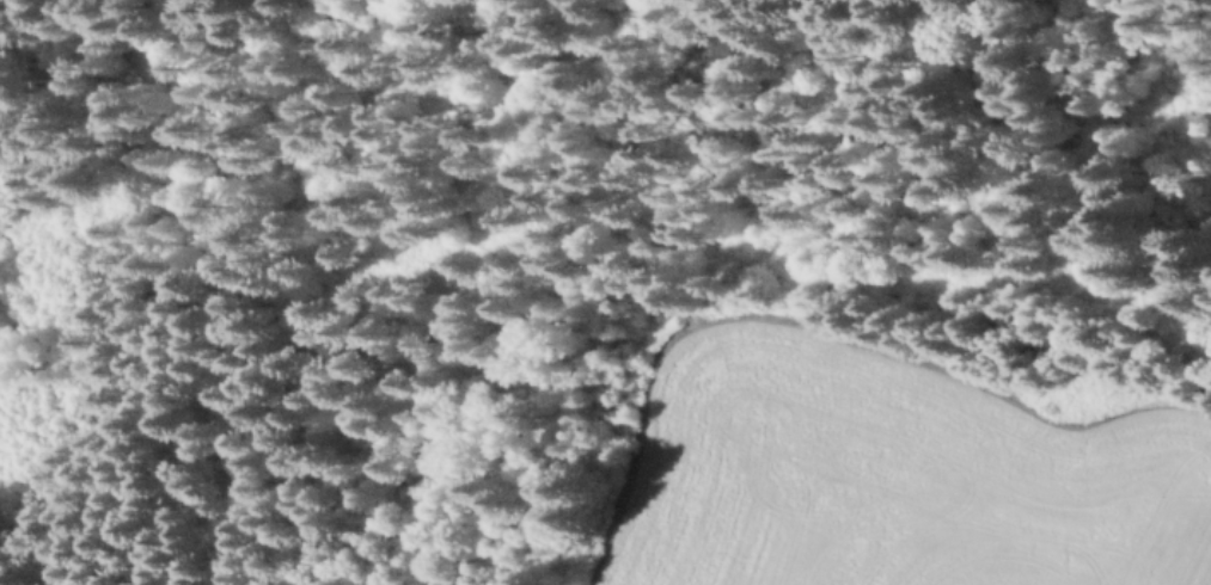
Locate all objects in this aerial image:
crop: (891, 472)

